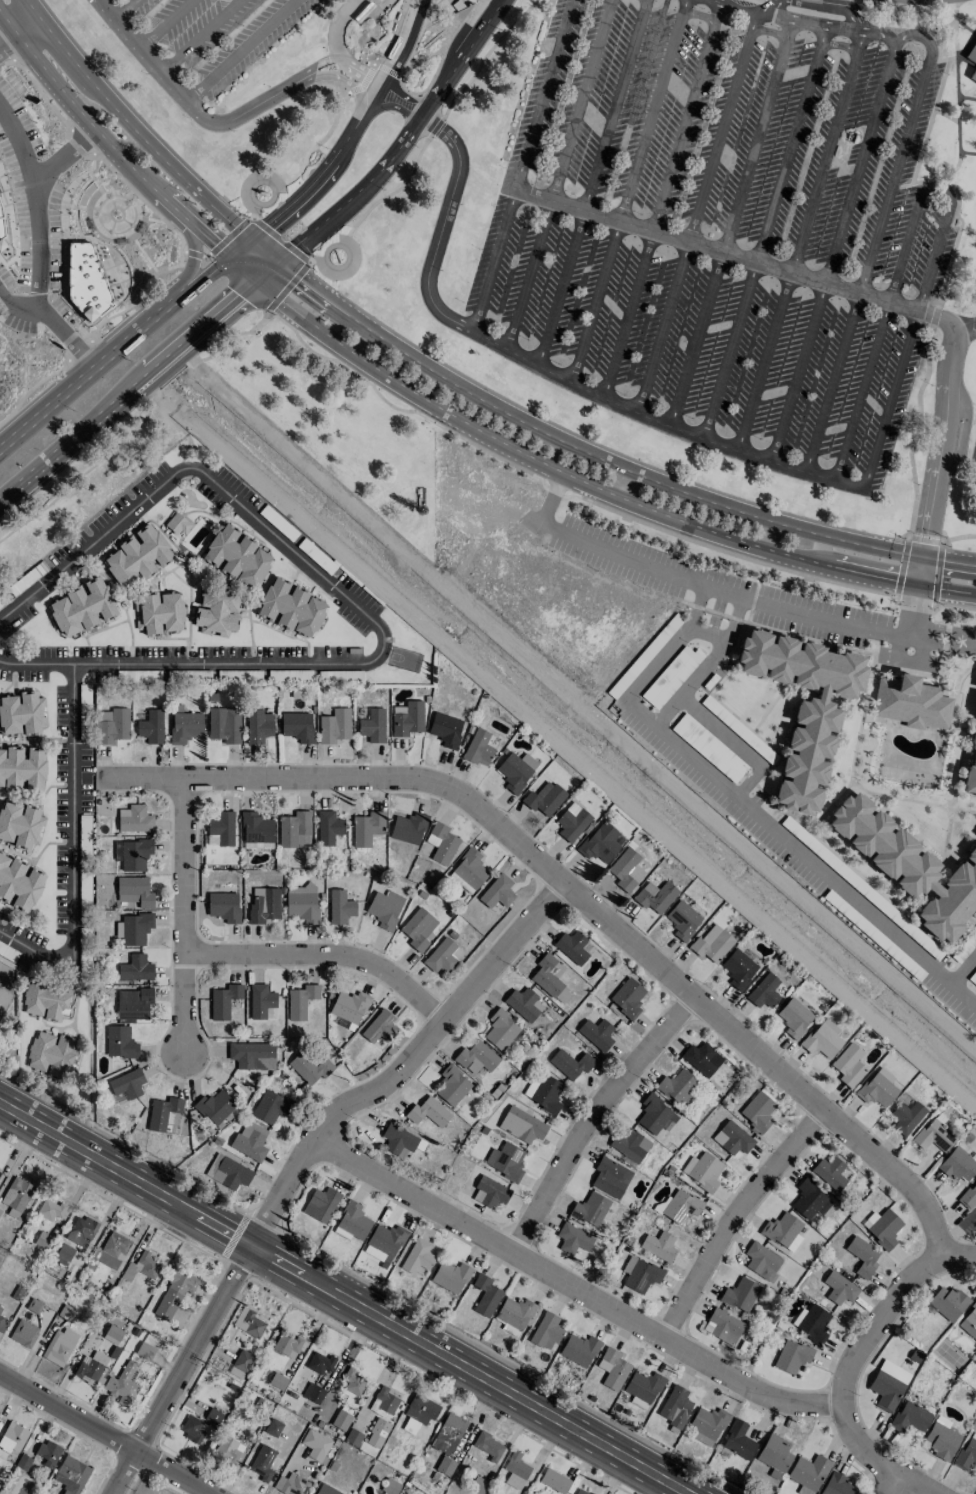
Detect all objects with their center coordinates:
road: (644, 0)
road: (757, 1)
road: (683, 6)
road: (736, 6)
road: (767, 7)
road: (123, 8)
road: (755, 20)
road: (809, 22)
road: (164, 23)
building: (451, 24)
road: (336, 27)
road: (878, 33)
parking lot: (216, 34)
road: (393, 34)
road: (197, 35)
road: (909, 37)
road: (403, 41)
road: (10, 43)
road: (839, 44)
road: (240, 50)
road: (484, 54)
building: (972, 54)
road: (149, 58)
road: (361, 72)
building: (974, 77)
road: (363, 81)
road: (346, 82)
road: (956, 96)
road: (271, 97)
road: (409, 98)
road: (436, 126)
road: (146, 139)
road: (108, 140)
road: (18, 142)
road: (403, 142)
road: (967, 152)
road: (304, 159)
road: (524, 166)
road: (328, 170)
road: (560, 175)
road: (630, 181)
road: (591, 183)
road: (938, 188)
road: (450, 194)
road: (661, 201)
road: (373, 203)
road: (698, 203)
road: (36, 205)
road: (811, 207)
road: (730, 224)
parking lot: (722, 225)
building: (0, 229)
road: (764, 234)
traffic signals: (252, 241)
road: (283, 241)
building: (1, 244)
road: (241, 249)
road: (833, 250)
road: (194, 253)
road: (871, 255)
road: (737, 257)
traffic signals: (230, 258)
road: (191, 261)
traffic signals: (278, 262)
road: (204, 266)
road: (242, 268)
traffic signals: (255, 279)
building: (85, 280)
road: (138, 295)
road: (51, 324)
road: (964, 330)
road: (80, 351)
road: (113, 354)
road: (138, 380)
road: (31, 389)
road: (137, 424)
road: (666, 428)
road: (937, 459)
road: (606, 461)
road: (593, 487)
building: (177, 524)
building: (137, 556)
building: (237, 557)
road: (700, 583)
parking lot: (749, 594)
road: (350, 599)
building: (82, 607)
building: (290, 607)
building: (217, 611)
road: (914, 612)
building: (159, 613)
road: (693, 630)
road: (946, 630)
road: (899, 641)
road: (941, 645)
road: (921, 646)
road: (974, 648)
road: (908, 657)
building: (671, 676)
building: (911, 703)
building: (804, 705)
building: (21, 713)
building: (407, 718)
building: (224, 724)
building: (112, 725)
building: (259, 726)
building: (297, 726)
building: (334, 726)
building: (372, 726)
building: (150, 727)
building: (185, 727)
building: (445, 729)
road: (734, 743)
building: (479, 747)
building: (971, 767)
building: (22, 769)
building: (516, 770)
building: (544, 800)
building: (135, 819)
building: (572, 822)
building: (20, 825)
building: (221, 827)
building: (328, 827)
building: (256, 828)
building: (367, 828)
building: (408, 828)
building: (294, 829)
parking lot: (785, 839)
building: (441, 843)
building: (600, 843)
building: (258, 845)
road: (72, 850)
building: (132, 854)
road: (816, 866)
building: (907, 866)
building: (625, 870)
building: (468, 871)
building: (19, 883)
building: (134, 891)
building: (497, 892)
building: (655, 896)
road: (580, 899)
building: (264, 905)
building: (224, 906)
building: (302, 907)
building: (340, 907)
building: (385, 909)
road: (183, 913)
building: (682, 920)
building: (133, 929)
building: (418, 929)
building: (712, 943)
building: (571, 946)
road: (324, 953)
building: (440, 956)
building: (135, 968)
building: (738, 969)
road: (963, 969)
building: (550, 977)
building: (764, 991)
building: (627, 998)
building: (3, 1000)
building: (45, 1000)
building: (223, 1001)
building: (300, 1001)
building: (262, 1002)
building: (523, 1003)
building: (133, 1004)
building: (349, 1006)
building: (794, 1018)
building: (379, 1026)
building: (501, 1029)
building: (596, 1034)
building: (822, 1039)
building: (120, 1042)
building: (50, 1054)
building: (252, 1055)
building: (476, 1057)
building: (702, 1059)
building: (570, 1063)
building: (848, 1065)
building: (310, 1067)
building: (126, 1084)
building: (452, 1085)
building: (678, 1087)
building: (877, 1088)
building: (543, 1092)
building: (214, 1106)
building: (268, 1107)
building: (757, 1111)
building: (428, 1112)
building: (163, 1113)
building: (655, 1114)
building: (906, 1117)
road: (590, 1118)
building: (521, 1125)
building: (933, 1134)
building: (732, 1138)
building: (398, 1140)
building: (250, 1141)
building: (629, 1144)
building: (505, 1161)
building: (957, 1165)
building: (702, 1169)
road: (316, 1170)
building: (228, 1172)
building: (829, 1173)
building: (610, 1177)
building: (490, 1193)
building: (16, 1196)
building: (969, 1197)
building: (807, 1198)
building: (321, 1204)
building: (681, 1206)
building: (49, 1209)
building: (590, 1209)
road: (736, 1215)
building: (352, 1222)
building: (882, 1228)
building: (780, 1229)
building: (81, 1230)
building: (573, 1239)
building: (384, 1243)
building: (115, 1246)
building: (659, 1246)
building: (64, 1253)
road: (959, 1254)
building: (417, 1256)
building: (863, 1256)
building: (761, 1260)
building: (142, 1267)
building: (640, 1274)
building: (450, 1276)
building: (840, 1288)
road: (582, 1289)
building: (174, 1291)
building: (485, 1295)
building: (740, 1295)
road: (343, 1301)
building: (948, 1302)
building: (0, 1308)
building: (514, 1315)
road: (878, 1318)
building: (248, 1322)
building: (969, 1322)
building: (3, 1323)
building: (813, 1323)
building: (723, 1326)
building: (546, 1329)
building: (113, 1332)
building: (24, 1333)
building: (286, 1345)
building: (59, 1346)
building: (146, 1346)
building: (579, 1349)
building: (792, 1356)
building: (320, 1363)
building: (240, 1364)
building: (91, 1367)
building: (612, 1368)
building: (277, 1381)
building: (353, 1382)
building: (123, 1384)
building: (888, 1385)
building: (643, 1388)
building: (313, 1393)
building: (384, 1401)
building: (675, 1406)
building: (420, 1410)
building: (213, 1416)
building: (910, 1417)
building: (341, 1420)
building: (706, 1425)
building: (273, 1427)
building: (192, 1429)
building: (377, 1433)
building: (448, 1433)
road: (99, 1437)
building: (353, 1437)
building: (12, 1438)
building: (738, 1440)
building: (941, 1441)
building: (315, 1445)
building: (488, 1446)
building: (231, 1450)
building: (774, 1452)
building: (47, 1453)
building: (966, 1454)
road: (873, 1457)
building: (262, 1462)
building: (445, 1466)
building: (515, 1470)
building: (808, 1473)
building: (71, 1475)
building: (554, 1481)
building: (291, 1484)
building: (836, 1484)
building: (390, 1487)
road: (904, 1487)
building: (326, 1490)
building: (580, 1491)

